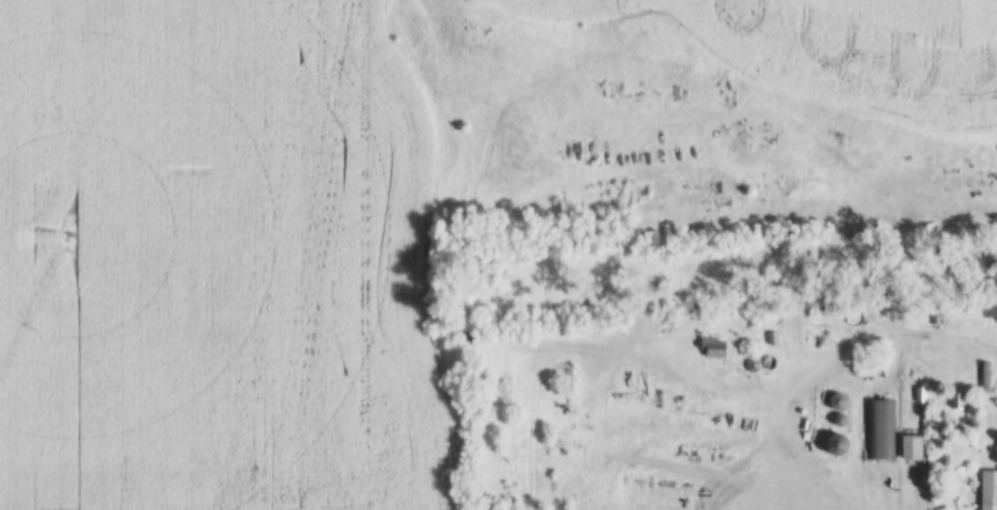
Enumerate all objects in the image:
road: (825, 130)
building: (715, 349)
building: (837, 403)
building: (882, 432)
building: (836, 447)
building: (909, 449)
building: (986, 491)

